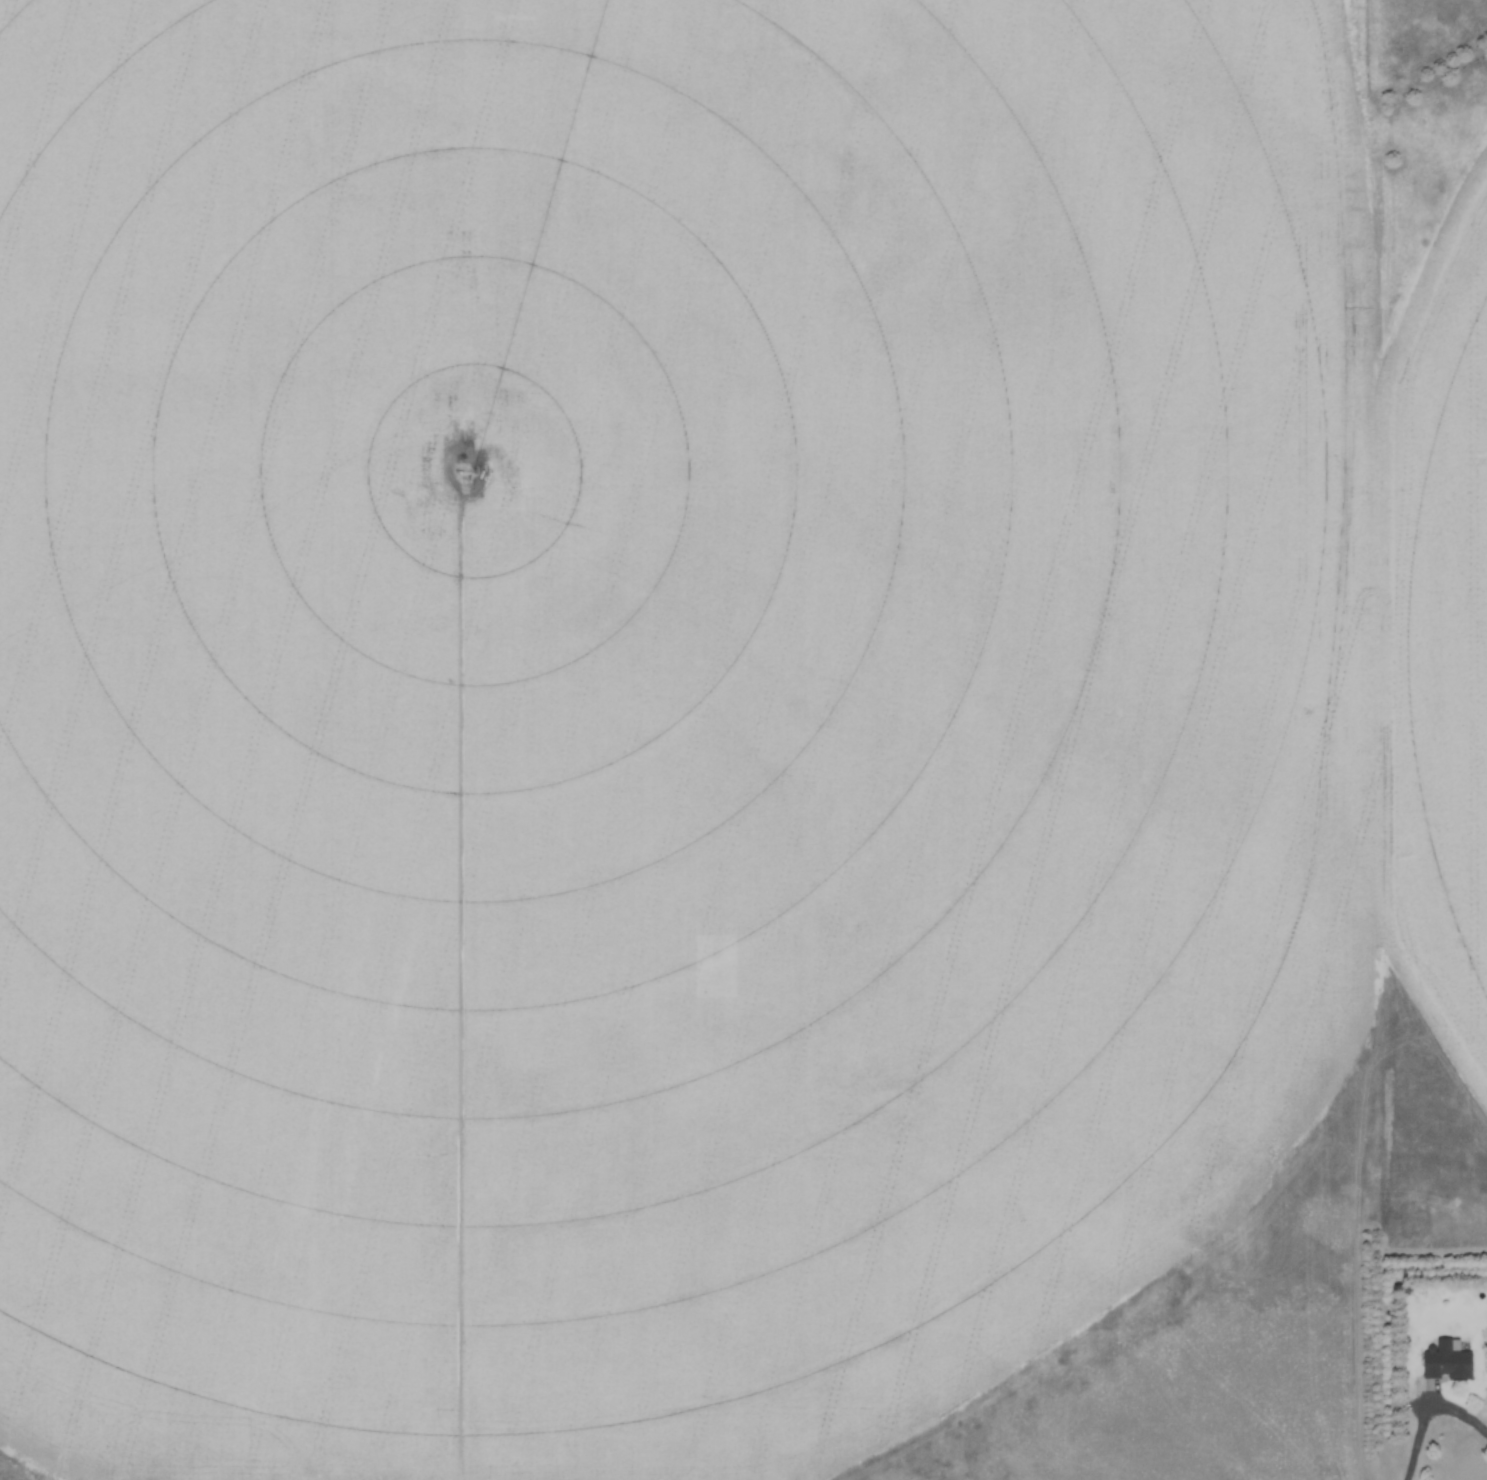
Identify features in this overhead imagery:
building: (1454, 1366)

